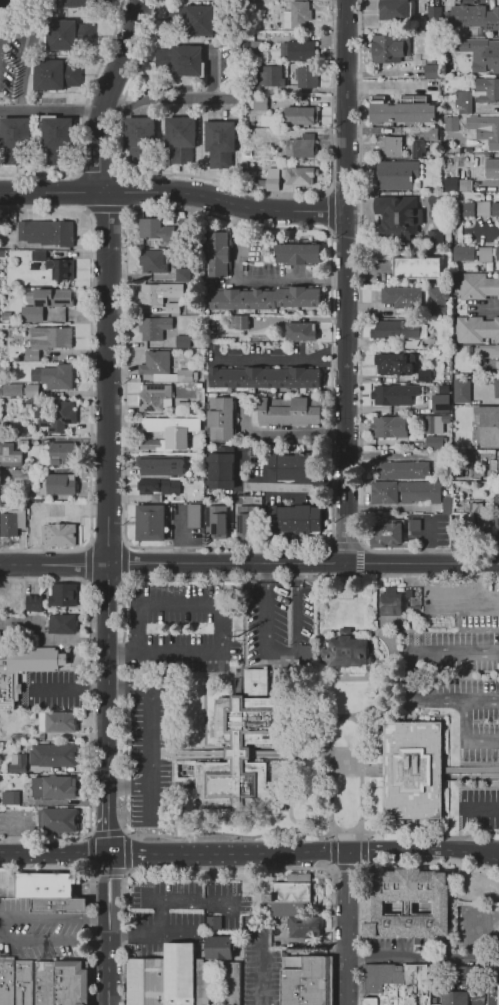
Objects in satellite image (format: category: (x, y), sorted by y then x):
building: (75, 1)
building: (392, 11)
building: (297, 15)
building: (433, 15)
building: (474, 17)
building: (191, 21)
building: (62, 33)
building: (387, 46)
road: (29, 47)
building: (252, 49)
building: (295, 49)
building: (479, 52)
building: (177, 62)
building: (433, 71)
building: (271, 74)
building: (51, 75)
building: (307, 75)
building: (488, 89)
road: (110, 94)
road: (164, 100)
building: (463, 100)
building: (259, 105)
road: (52, 110)
building: (402, 113)
building: (301, 115)
building: (449, 123)
building: (489, 130)
building: (434, 133)
building: (59, 136)
building: (181, 136)
building: (14, 139)
building: (138, 139)
building: (221, 142)
building: (390, 146)
building: (302, 147)
building: (418, 149)
building: (491, 167)
building: (300, 176)
building: (394, 176)
building: (272, 179)
building: (464, 184)
building: (448, 185)
road: (174, 193)
building: (383, 209)
building: (464, 209)
building: (483, 209)
building: (497, 210)
building: (410, 215)
building: (148, 228)
road: (488, 231)
building: (46, 234)
building: (432, 238)
building: (298, 253)
building: (466, 253)
building: (484, 253)
building: (218, 254)
building: (498, 254)
building: (38, 255)
building: (154, 263)
building: (417, 267)
building: (60, 269)
building: (181, 274)
road: (259, 279)
road: (346, 282)
building: (478, 286)
building: (151, 294)
building: (298, 297)
building: (402, 297)
building: (242, 300)
building: (437, 301)
building: (45, 303)
building: (175, 308)
building: (5, 317)
building: (241, 324)
building: (154, 328)
building: (398, 329)
building: (476, 329)
building: (301, 331)
building: (42, 341)
building: (181, 341)
building: (485, 352)
road: (282, 359)
building: (387, 363)
building: (405, 364)
building: (155, 366)
building: (183, 372)
building: (425, 375)
building: (55, 376)
road: (108, 377)
building: (266, 379)
building: (496, 387)
building: (462, 389)
building: (11, 390)
building: (31, 392)
building: (393, 396)
building: (154, 398)
building: (439, 402)
building: (182, 408)
building: (303, 412)
building: (269, 414)
building: (57, 416)
building: (221, 418)
building: (436, 425)
building: (488, 425)
building: (391, 427)
building: (172, 430)
building: (433, 442)
building: (150, 444)
building: (57, 450)
building: (10, 455)
building: (493, 465)
building: (161, 466)
building: (292, 467)
building: (220, 469)
building: (403, 471)
building: (20, 474)
building: (61, 485)
building: (161, 487)
road: (294, 489)
building: (481, 489)
building: (422, 492)
building: (383, 493)
building: (496, 494)
building: (474, 507)
building: (193, 515)
building: (294, 519)
building: (218, 520)
building: (149, 521)
building: (7, 524)
building: (244, 524)
building: (414, 525)
building: (388, 533)
building: (498, 534)
building: (60, 535)
road: (427, 540)
road: (358, 544)
road: (55, 564)
road: (230, 564)
road: (424, 564)
building: (61, 595)
building: (390, 602)
building: (33, 609)
road: (220, 617)
parking lot: (281, 621)
building: (63, 623)
parking lot: (181, 628)
building: (345, 650)
road: (281, 651)
building: (26, 666)
road: (413, 677)
building: (257, 683)
parking lot: (457, 685)
road: (120, 708)
road: (111, 710)
road: (343, 716)
building: (56, 721)
road: (149, 736)
road: (466, 738)
road: (362, 745)
road: (361, 746)
building: (242, 750)
building: (53, 755)
parking lot: (150, 755)
building: (16, 762)
building: (474, 771)
building: (414, 772)
road: (330, 774)
building: (52, 786)
road: (130, 788)
building: (9, 798)
parking lot: (478, 808)
road: (482, 811)
building: (57, 821)
flagpole: (335, 821)
flagpole: (356, 821)
road: (125, 835)
road: (423, 849)
road: (482, 849)
road: (56, 854)
road: (229, 854)
traffic signals: (130, 856)
road: (331, 864)
road: (363, 866)
traffic signals: (111, 878)
building: (46, 884)
road: (90, 884)
road: (110, 886)
building: (289, 894)
road: (189, 902)
building: (402, 904)
building: (60, 905)
road: (331, 906)
parking lot: (180, 911)
road: (159, 916)
building: (215, 922)
road: (110, 924)
building: (301, 927)
road: (346, 927)
road: (1, 928)
road: (152, 931)
road: (110, 936)
building: (222, 947)
road: (422, 954)
parking lot: (260, 968)
road: (261, 969)
road: (109, 973)
building: (181, 974)
building: (147, 981)
building: (308, 981)
building: (16, 982)
building: (203, 982)
building: (46, 983)
building: (73, 983)
building: (235, 983)
building: (379, 983)
building: (412, 984)
building: (461, 987)
building: (497, 987)
building: (365, 1001)

